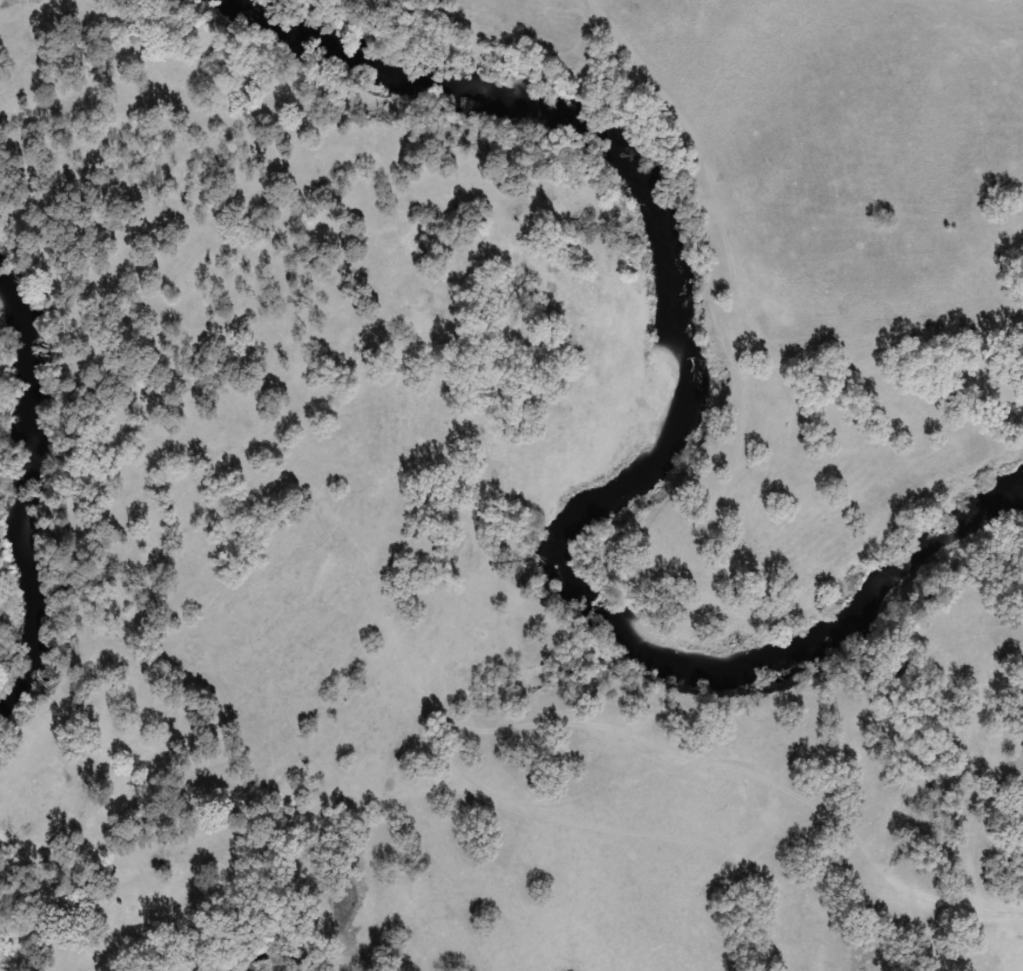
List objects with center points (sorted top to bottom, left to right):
river: (660, 437)
river: (8, 502)

